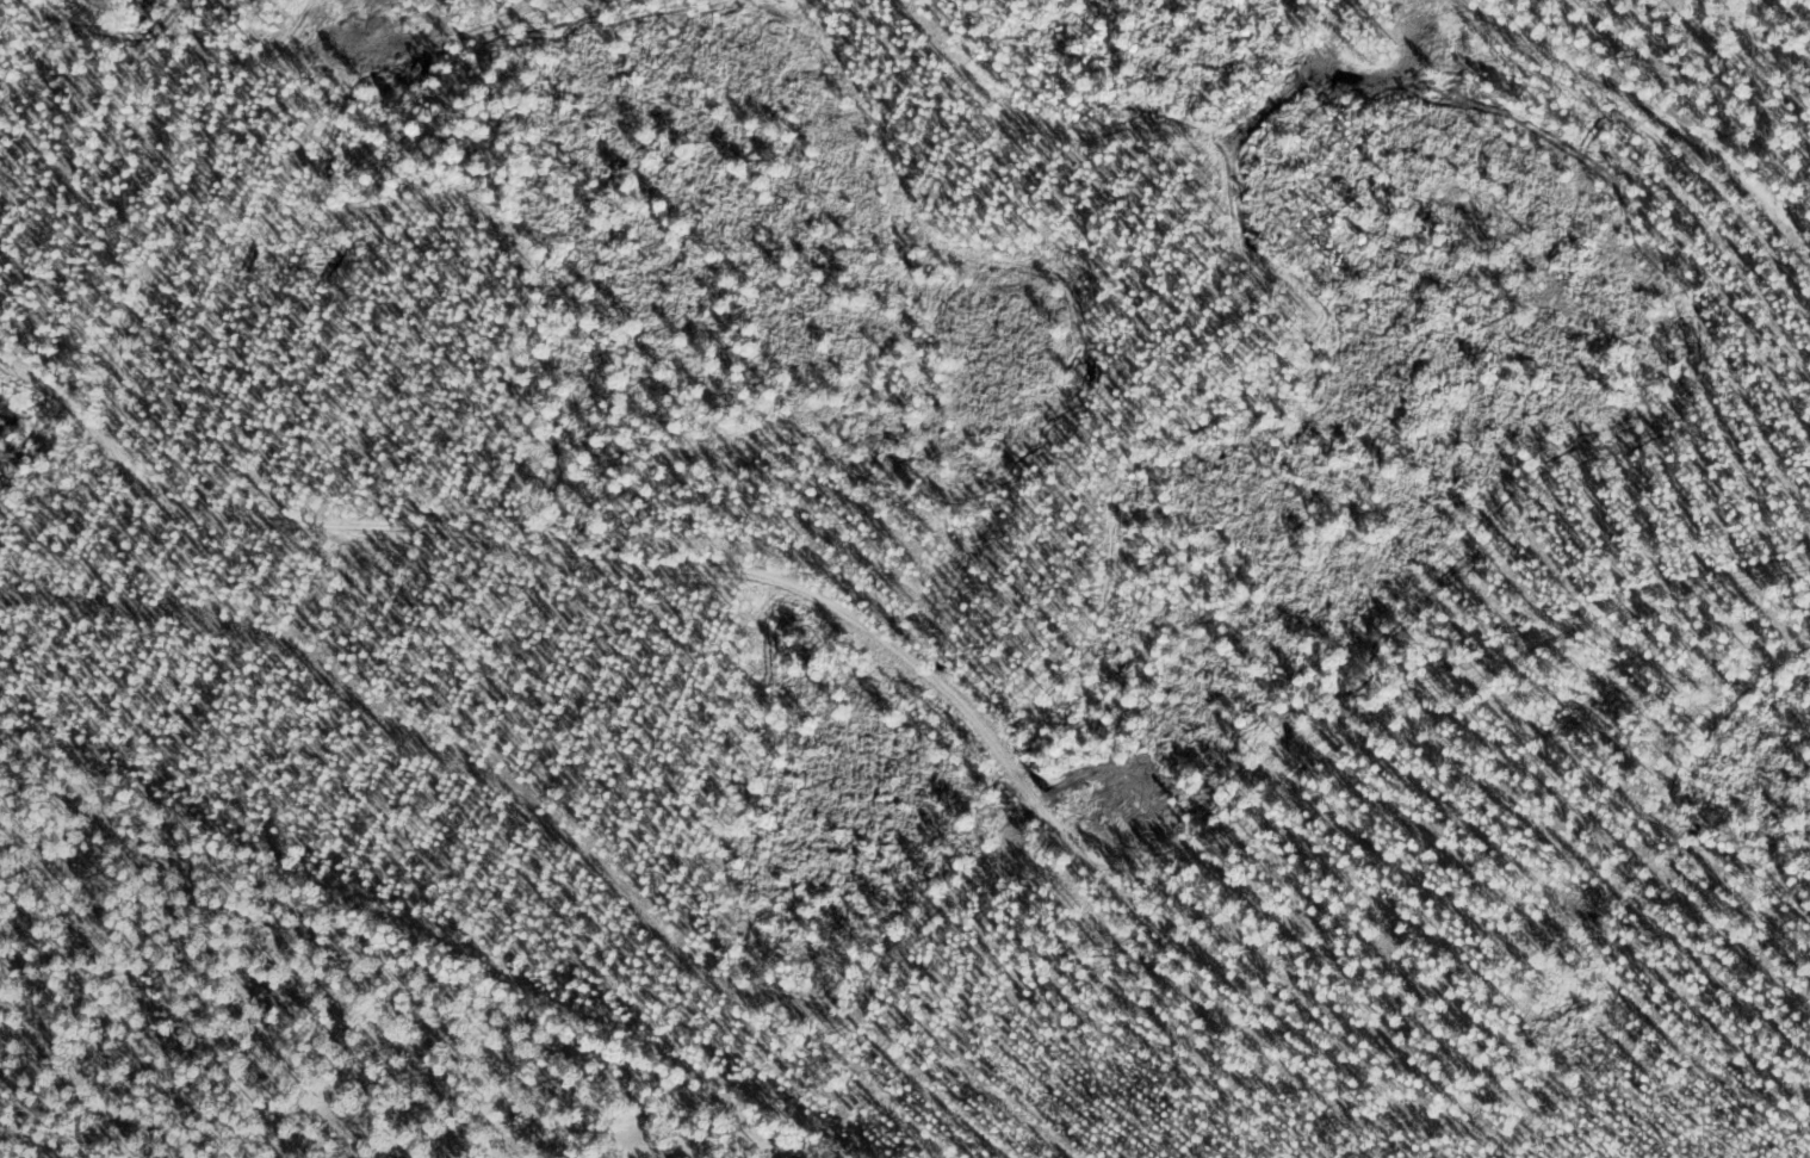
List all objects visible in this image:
road: (1679, 92)
road: (112, 244)
road: (25, 383)
road: (926, 755)

